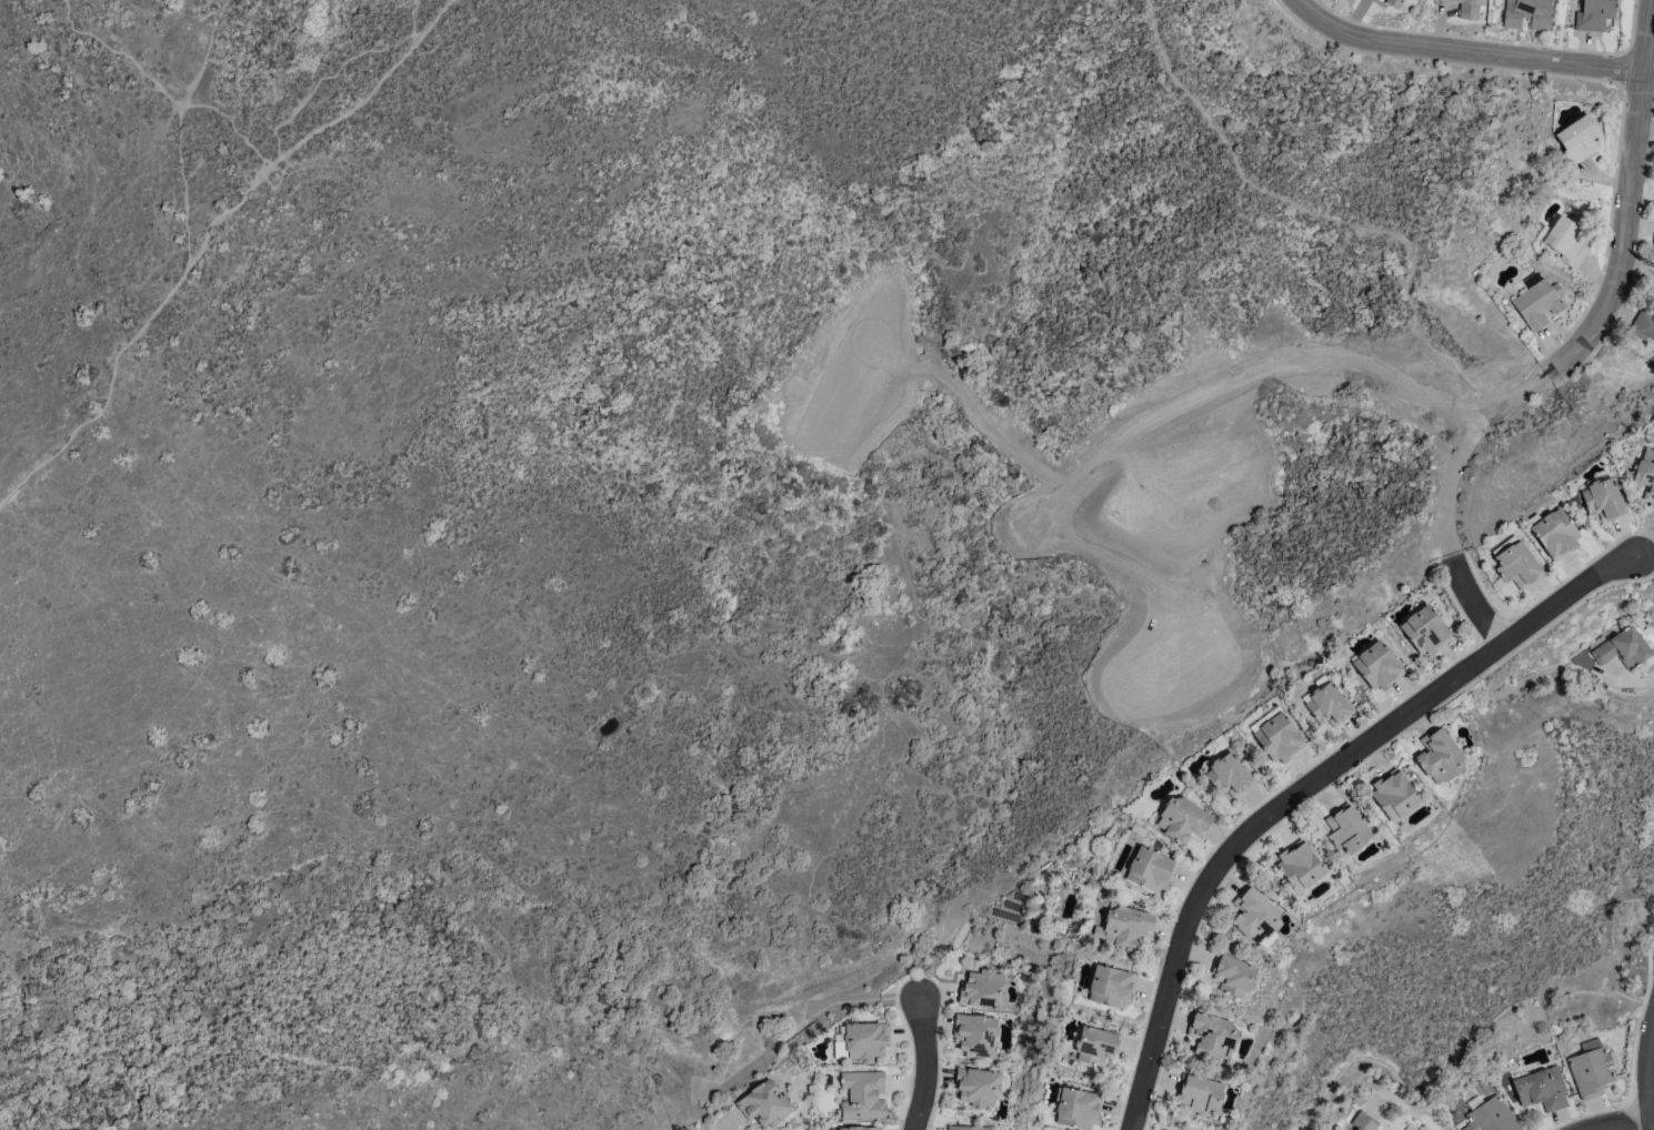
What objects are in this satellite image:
building: (1377, 0)
building: (1393, 2)
building: (1463, 2)
building: (1526, 13)
building: (1594, 14)
road: (419, 33)
road: (1462, 52)
road: (340, 72)
road: (161, 88)
road: (180, 127)
building: (1577, 138)
road: (1627, 199)
road: (1334, 221)
road: (209, 235)
building: (1566, 241)
building: (1537, 303)
building: (1643, 324)
road: (1466, 448)
building: (1645, 474)
building: (1603, 500)
building: (1553, 533)
building: (1515, 563)
road: (1473, 602)
building: (1424, 629)
building: (1623, 648)
building: (1377, 666)
road: (1635, 684)
building: (1329, 705)
building: (1263, 718)
building: (1279, 737)
building: (1439, 755)
building: (1229, 775)
road: (1303, 783)
building: (1393, 794)
building: (1182, 819)
building: (1346, 828)
building: (1300, 866)
building: (1150, 869)
building: (1006, 914)
building: (1254, 915)
building: (1126, 926)
building: (1232, 975)
building: (1110, 986)
building: (982, 989)
building: (976, 1035)
building: (1211, 1036)
building: (864, 1039)
building: (1095, 1045)
building: (838, 1049)
road: (928, 1065)
building: (1590, 1068)
building: (978, 1086)
building: (1541, 1089)
road: (1651, 1090)
building: (862, 1094)
building: (1197, 1094)
building: (764, 1103)
road: (1410, 1107)
building: (1077, 1108)
building: (1490, 1114)
building: (1364, 1121)
road: (1625, 1123)
building: (966, 1127)
building: (860, 1128)

